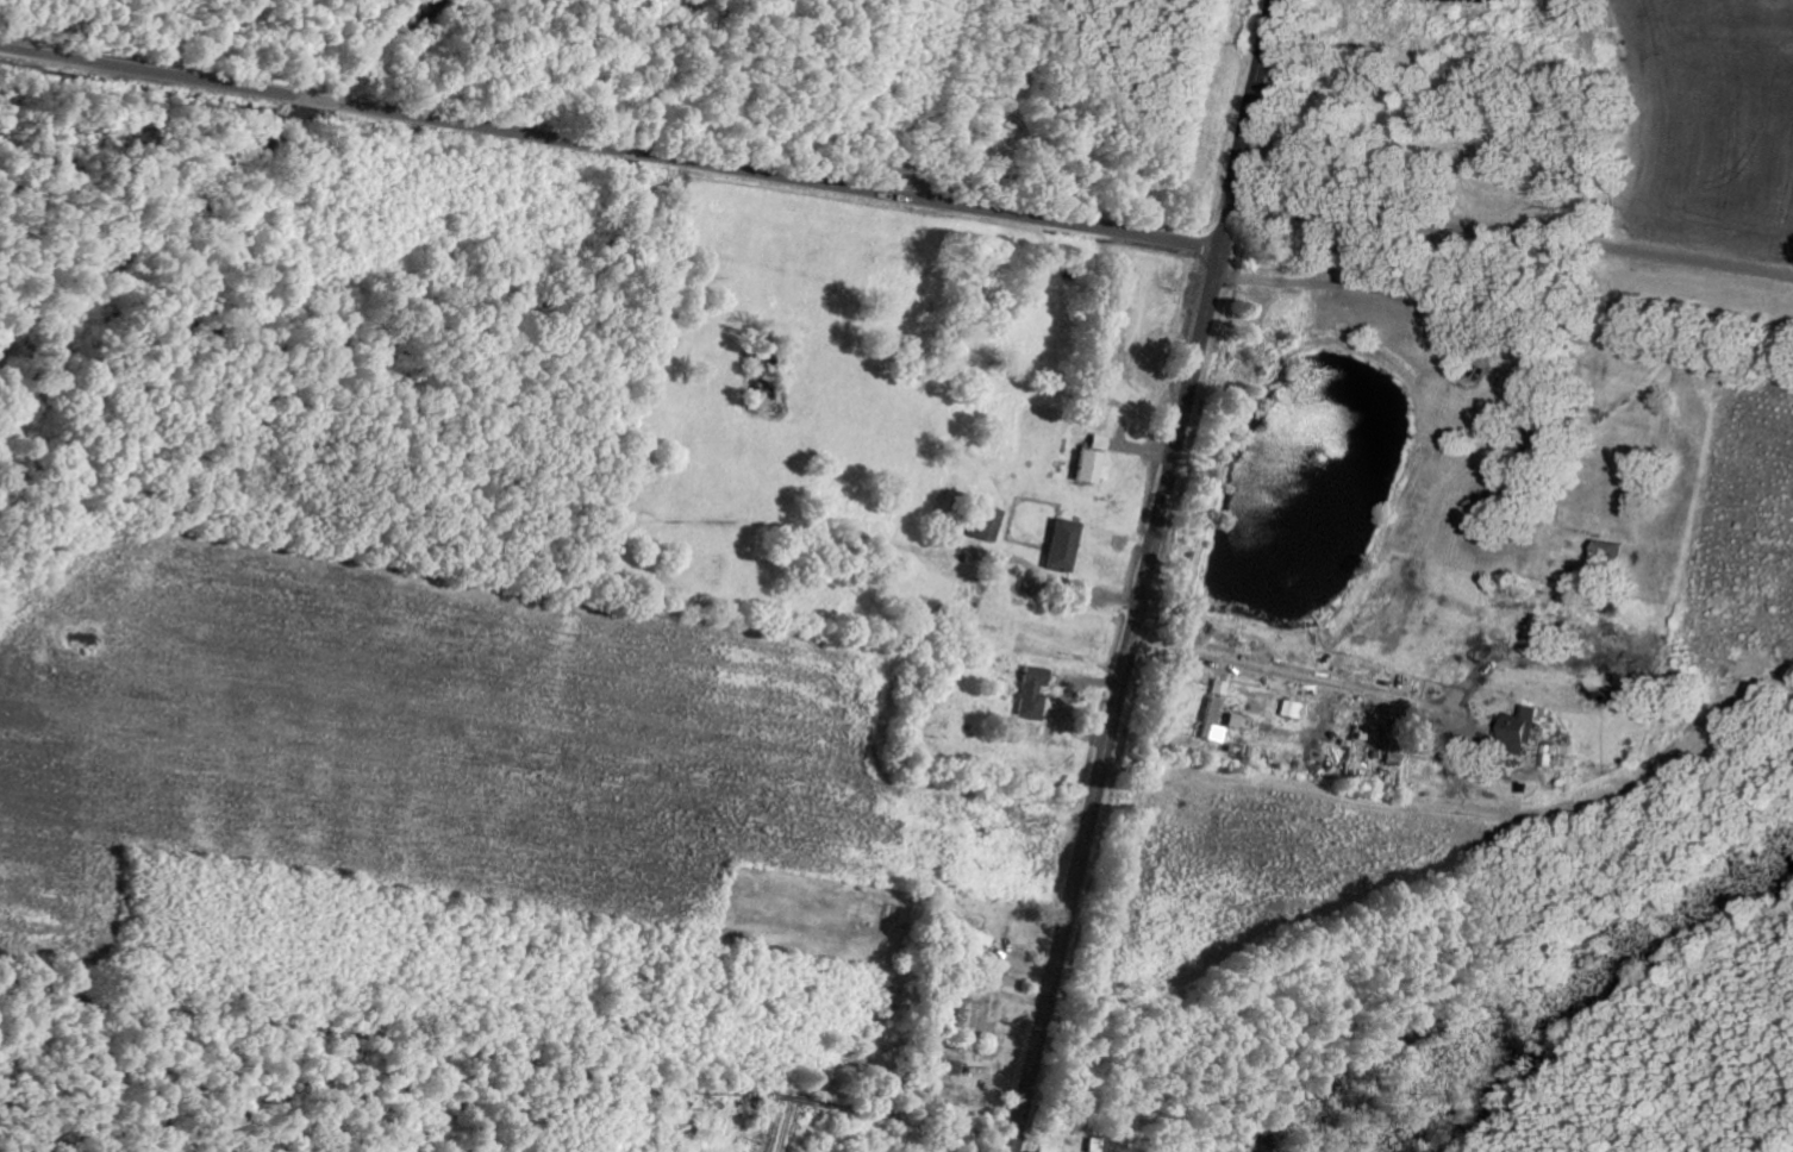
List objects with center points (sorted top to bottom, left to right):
road: (611, 146)
building: (1089, 467)
building: (985, 522)
building: (1062, 545)
road: (1147, 576)
building: (1032, 693)
building: (1214, 712)
building: (1235, 720)
building: (1523, 728)
road: (1310, 778)
building: (964, 1025)
road: (1422, 1053)
building: (1094, 1145)

